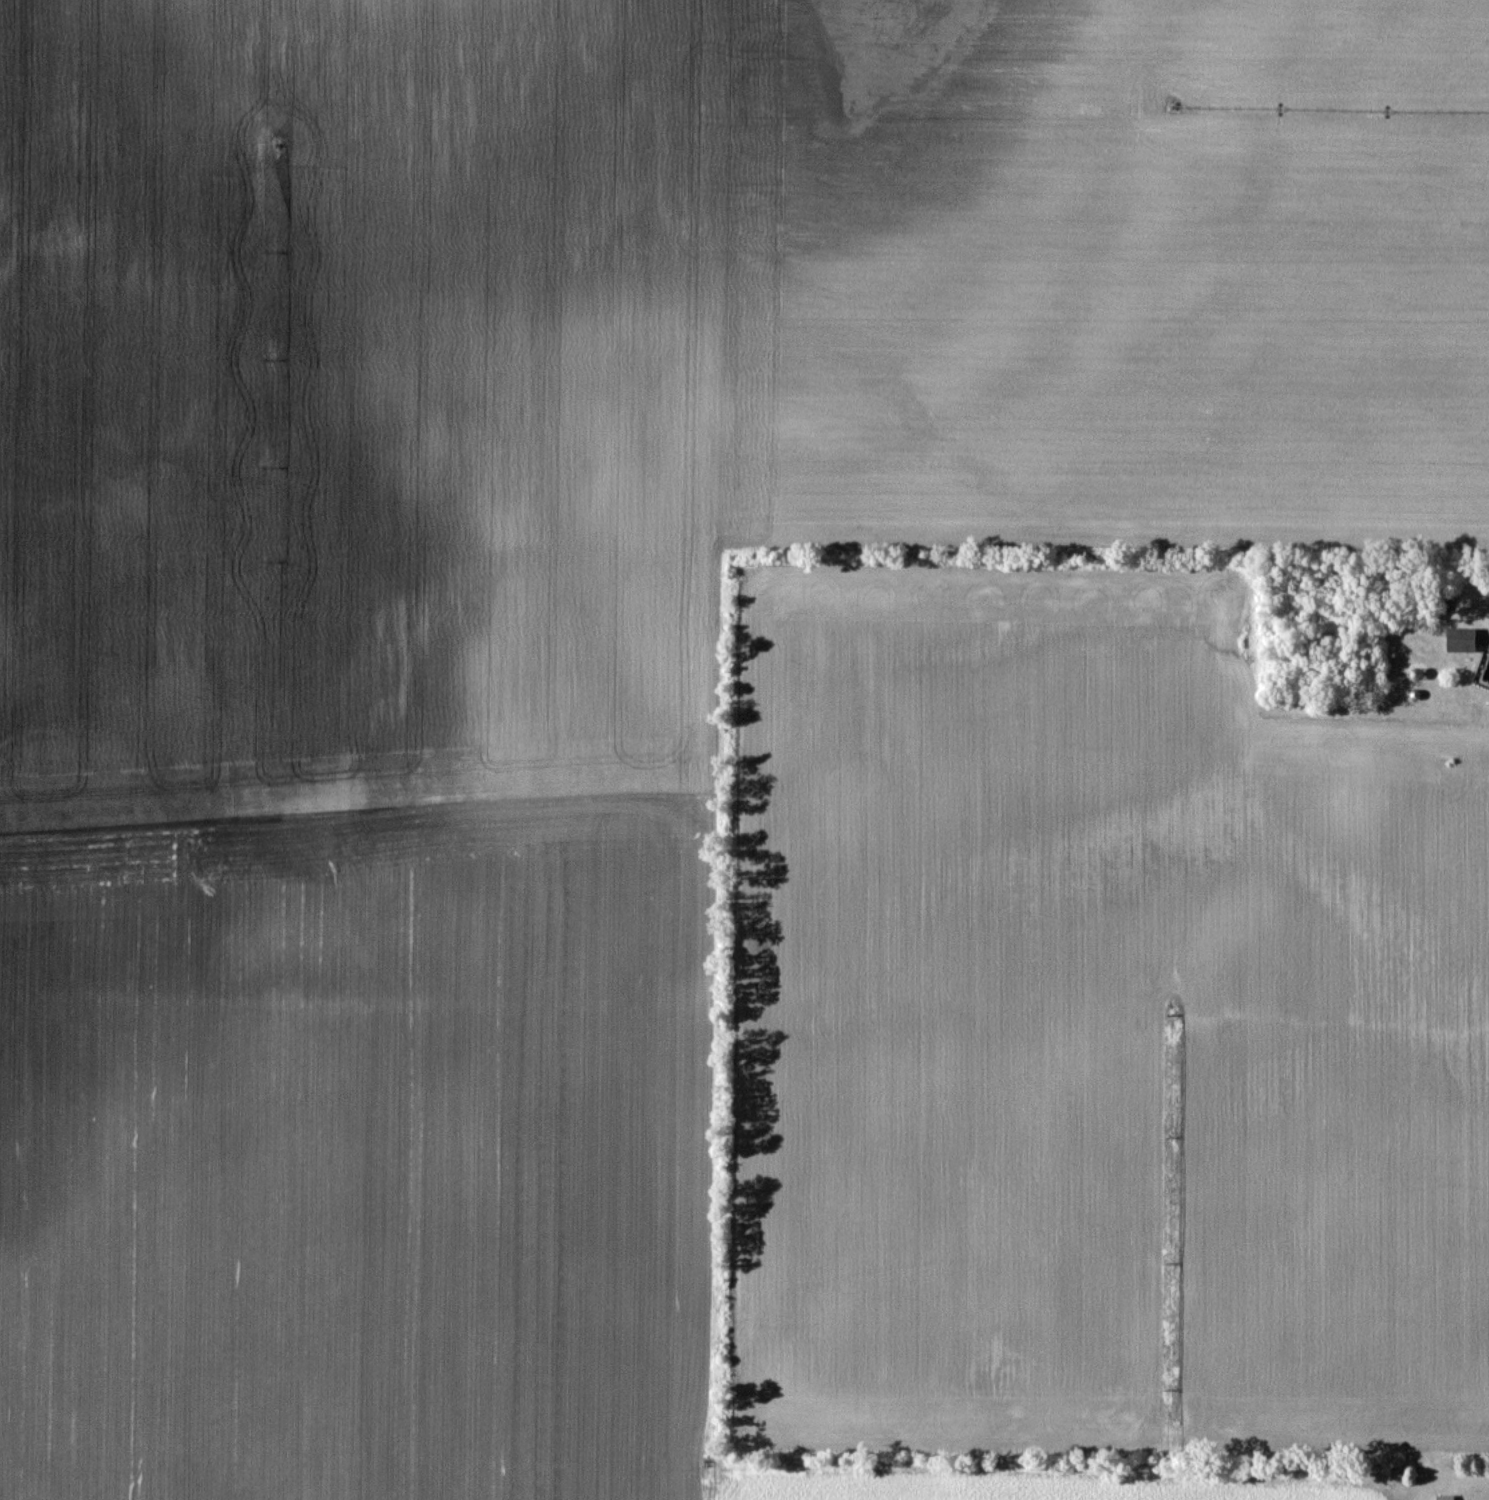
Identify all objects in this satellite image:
building: (1462, 640)
building: (1445, 1497)

